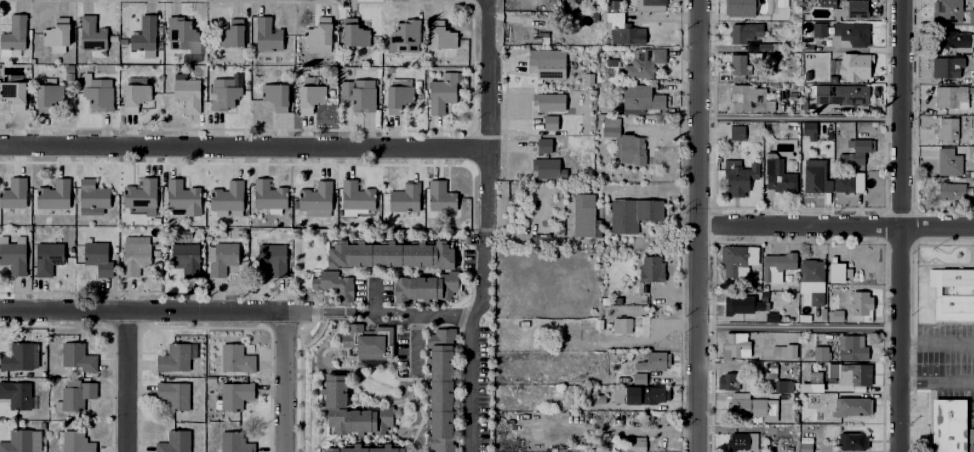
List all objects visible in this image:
building: (828, 3)
building: (650, 5)
building: (739, 9)
building: (780, 9)
building: (852, 10)
building: (948, 11)
building: (972, 16)
building: (619, 29)
building: (818, 30)
building: (57, 33)
building: (745, 33)
building: (852, 33)
building: (15, 34)
building: (92, 34)
building: (145, 35)
building: (183, 35)
building: (232, 35)
building: (320, 35)
building: (356, 35)
building: (267, 36)
building: (406, 36)
building: (442, 37)
building: (954, 41)
building: (9, 52)
building: (644, 63)
building: (545, 64)
building: (739, 65)
building: (852, 67)
building: (947, 68)
road: (489, 89)
building: (136, 93)
building: (188, 93)
building: (99, 94)
building: (442, 94)
building: (13, 95)
building: (48, 95)
building: (277, 95)
building: (311, 95)
building: (361, 95)
building: (226, 96)
building: (399, 96)
building: (838, 96)
building: (793, 97)
building: (643, 98)
building: (951, 98)
building: (746, 99)
building: (550, 102)
road: (799, 117)
building: (551, 124)
building: (612, 128)
building: (810, 130)
building: (948, 132)
building: (738, 133)
building: (972, 137)
road: (244, 143)
building: (545, 147)
building: (630, 148)
building: (861, 154)
building: (950, 163)
building: (549, 170)
building: (779, 176)
building: (816, 177)
building: (742, 182)
building: (850, 184)
building: (972, 187)
road: (650, 189)
building: (953, 192)
building: (14, 194)
building: (54, 196)
building: (93, 196)
building: (269, 196)
building: (142, 197)
building: (228, 197)
building: (183, 198)
building: (357, 198)
building: (441, 198)
building: (406, 199)
building: (315, 201)
road: (485, 204)
building: (354, 212)
building: (632, 212)
building: (584, 216)
road: (697, 225)
road: (835, 226)
road: (900, 226)
building: (135, 240)
building: (390, 251)
building: (13, 256)
building: (98, 258)
building: (135, 258)
building: (737, 258)
building: (48, 259)
building: (187, 259)
building: (273, 259)
building: (223, 260)
building: (775, 265)
building: (835, 269)
building: (653, 270)
road: (481, 272)
building: (332, 280)
building: (809, 280)
building: (423, 284)
building: (952, 290)
road: (375, 297)
building: (860, 302)
building: (740, 305)
road: (330, 312)
building: (822, 313)
road: (153, 314)
building: (837, 315)
building: (803, 318)
road: (473, 322)
building: (613, 327)
road: (799, 327)
building: (368, 340)
road: (415, 340)
road: (908, 341)
road: (945, 341)
building: (734, 346)
building: (851, 348)
building: (783, 351)
building: (820, 354)
building: (756, 356)
building: (20, 358)
building: (78, 359)
building: (175, 359)
building: (236, 359)
building: (654, 369)
building: (770, 370)
building: (849, 374)
building: (814, 377)
building: (728, 382)
road: (127, 383)
road: (287, 383)
road: (908, 383)
road: (944, 383)
building: (782, 386)
building: (438, 388)
building: (18, 395)
building: (174, 396)
building: (78, 397)
building: (235, 397)
building: (638, 397)
building: (335, 398)
building: (852, 407)
building: (753, 410)
building: (614, 420)
building: (949, 425)
building: (970, 440)
building: (18, 442)
building: (76, 442)
building: (175, 442)
building: (742, 442)
building: (852, 442)
building: (235, 443)
building: (608, 443)
building: (637, 445)
building: (804, 447)
building: (331, 448)
building: (370, 448)

